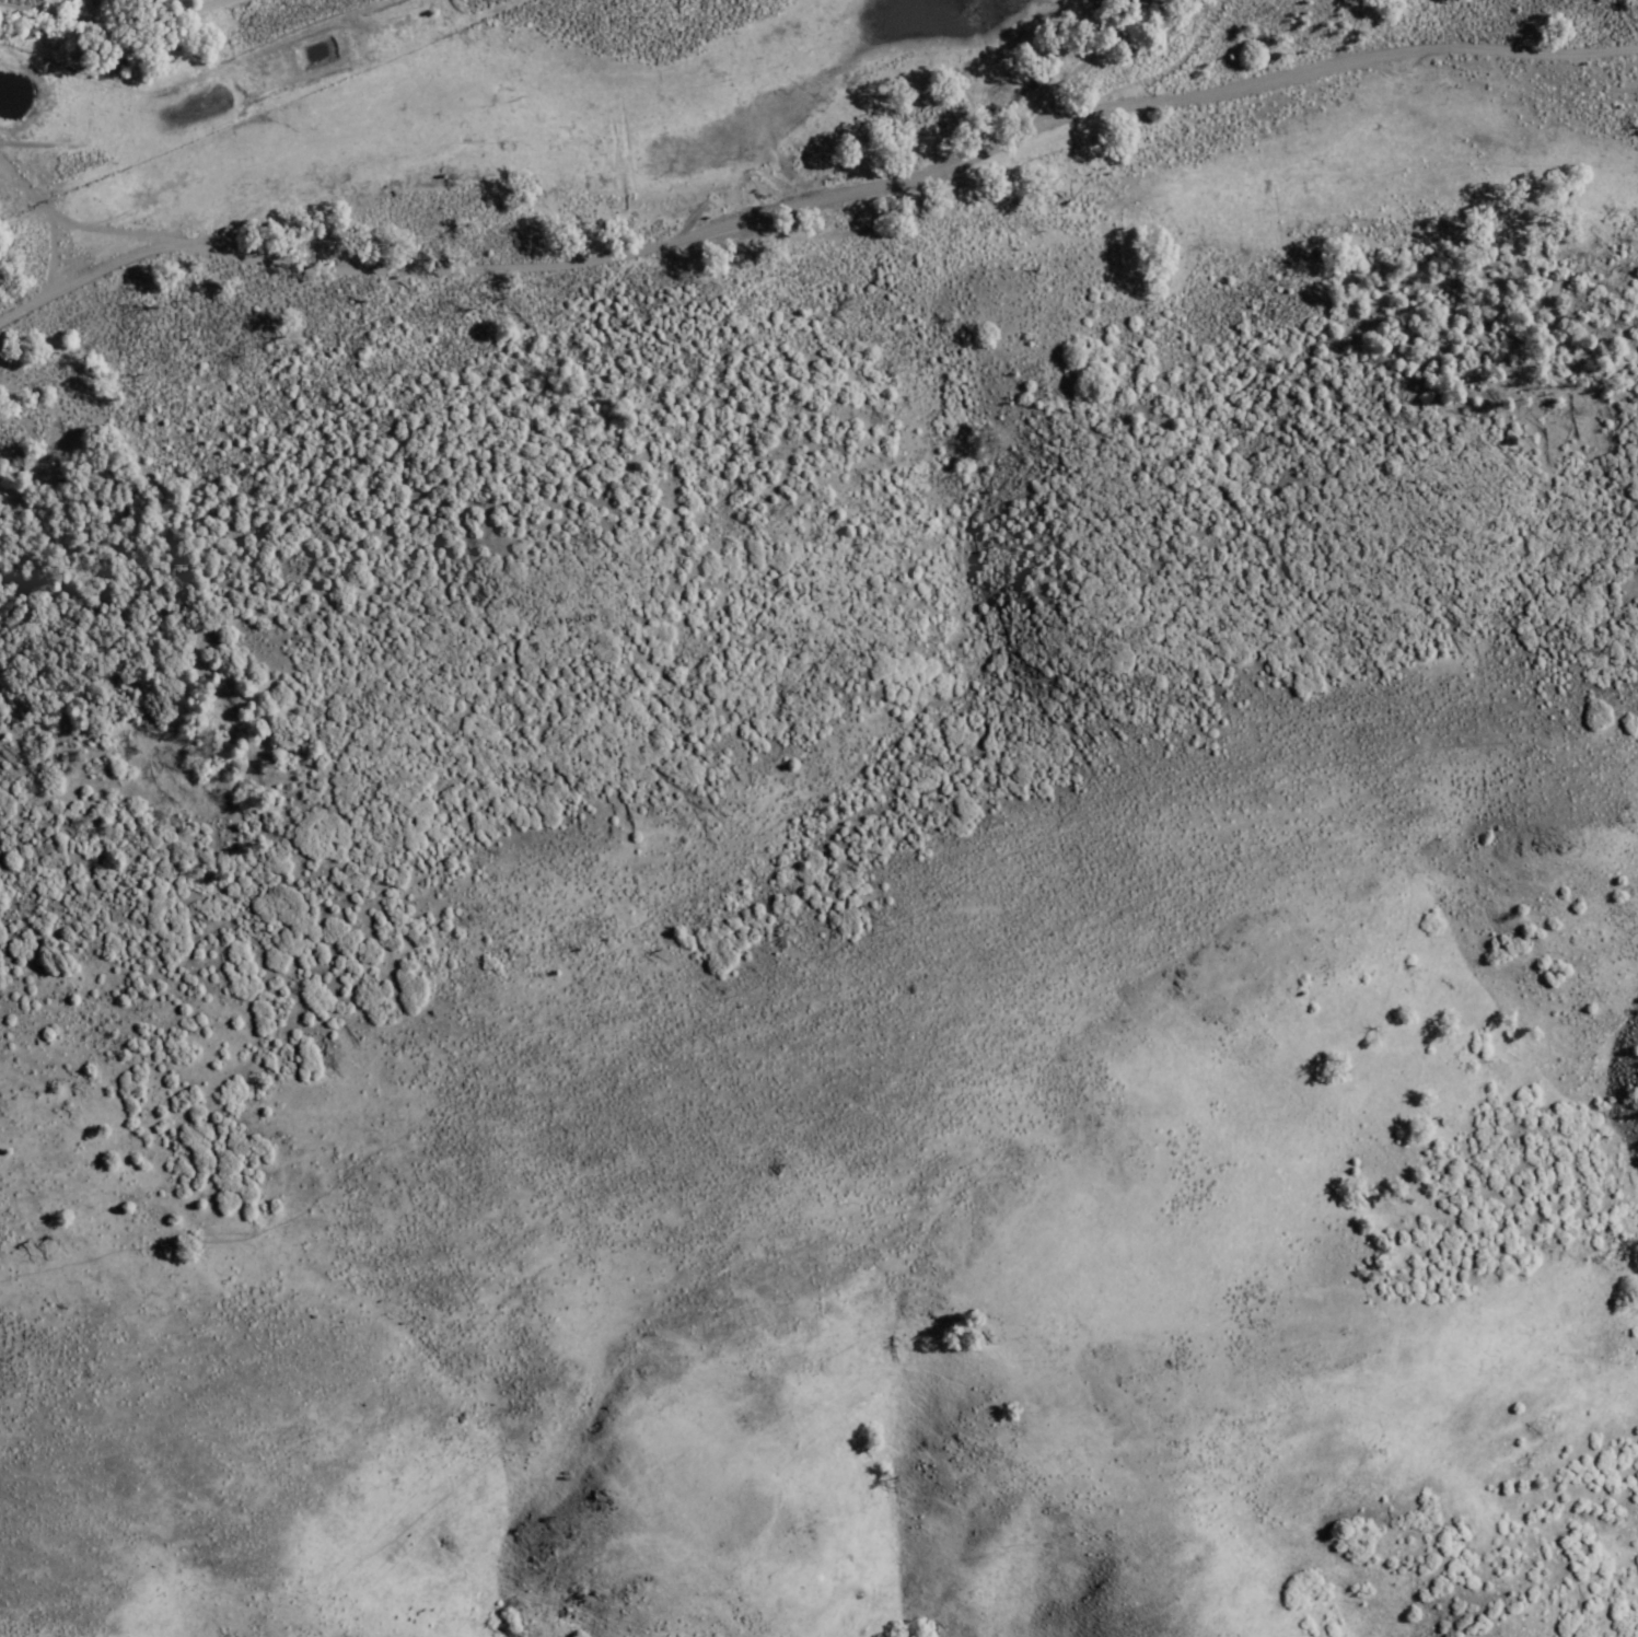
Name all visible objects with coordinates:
road: (104, 14)
road: (1145, 101)
road: (1164, 161)
road: (7, 169)
road: (7, 177)
road: (328, 263)
road: (82, 276)

